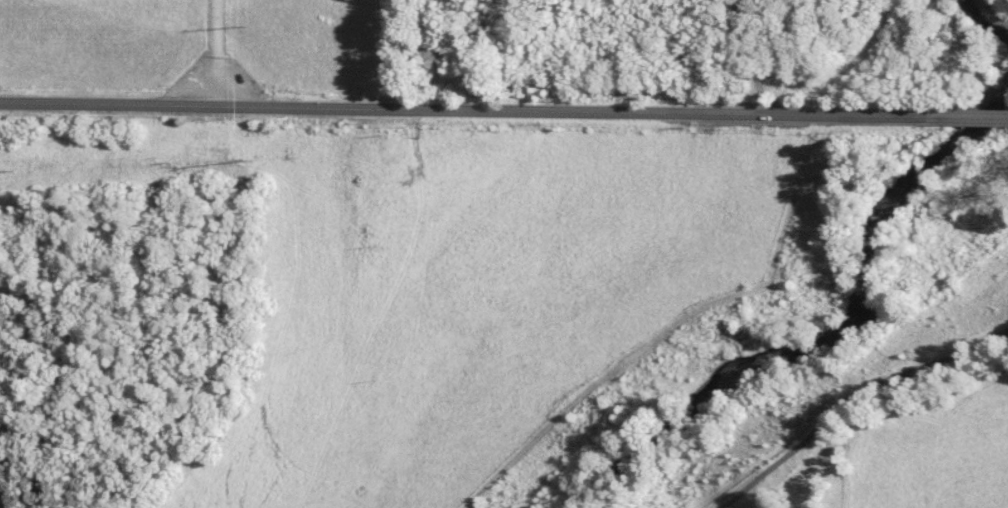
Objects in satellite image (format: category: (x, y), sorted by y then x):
river: (984, 19)
road: (214, 54)
road: (469, 111)
road: (973, 118)
river: (836, 339)
road: (853, 396)
crop: (934, 450)

